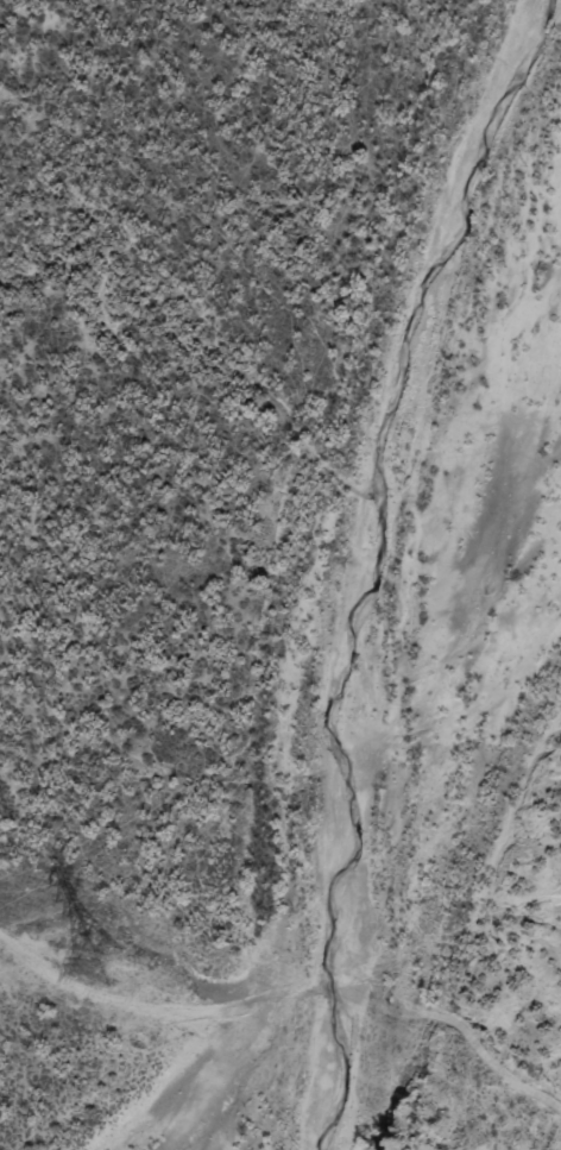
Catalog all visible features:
river: (353, 563)
power tower: (101, 961)

